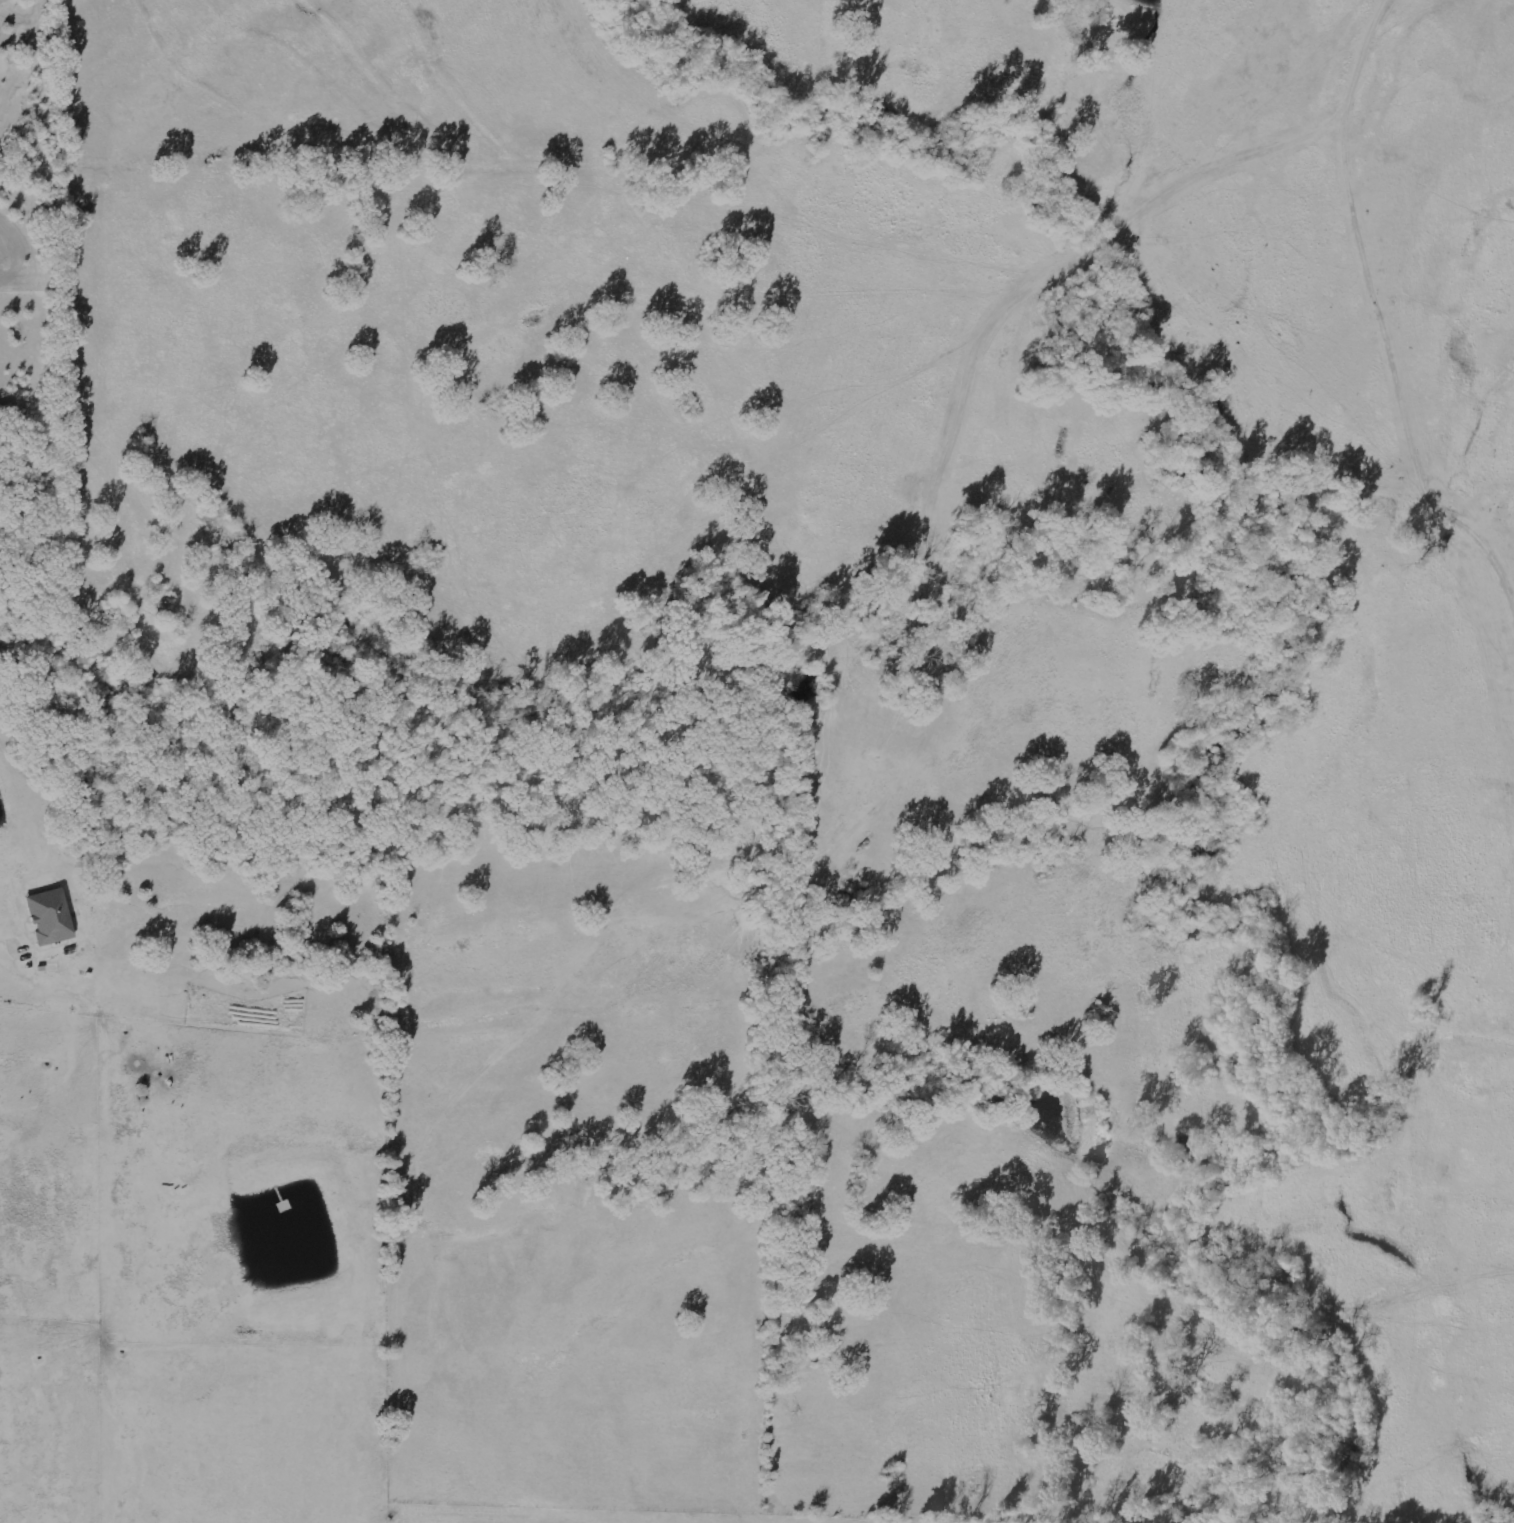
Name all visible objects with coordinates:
building: (49, 918)

